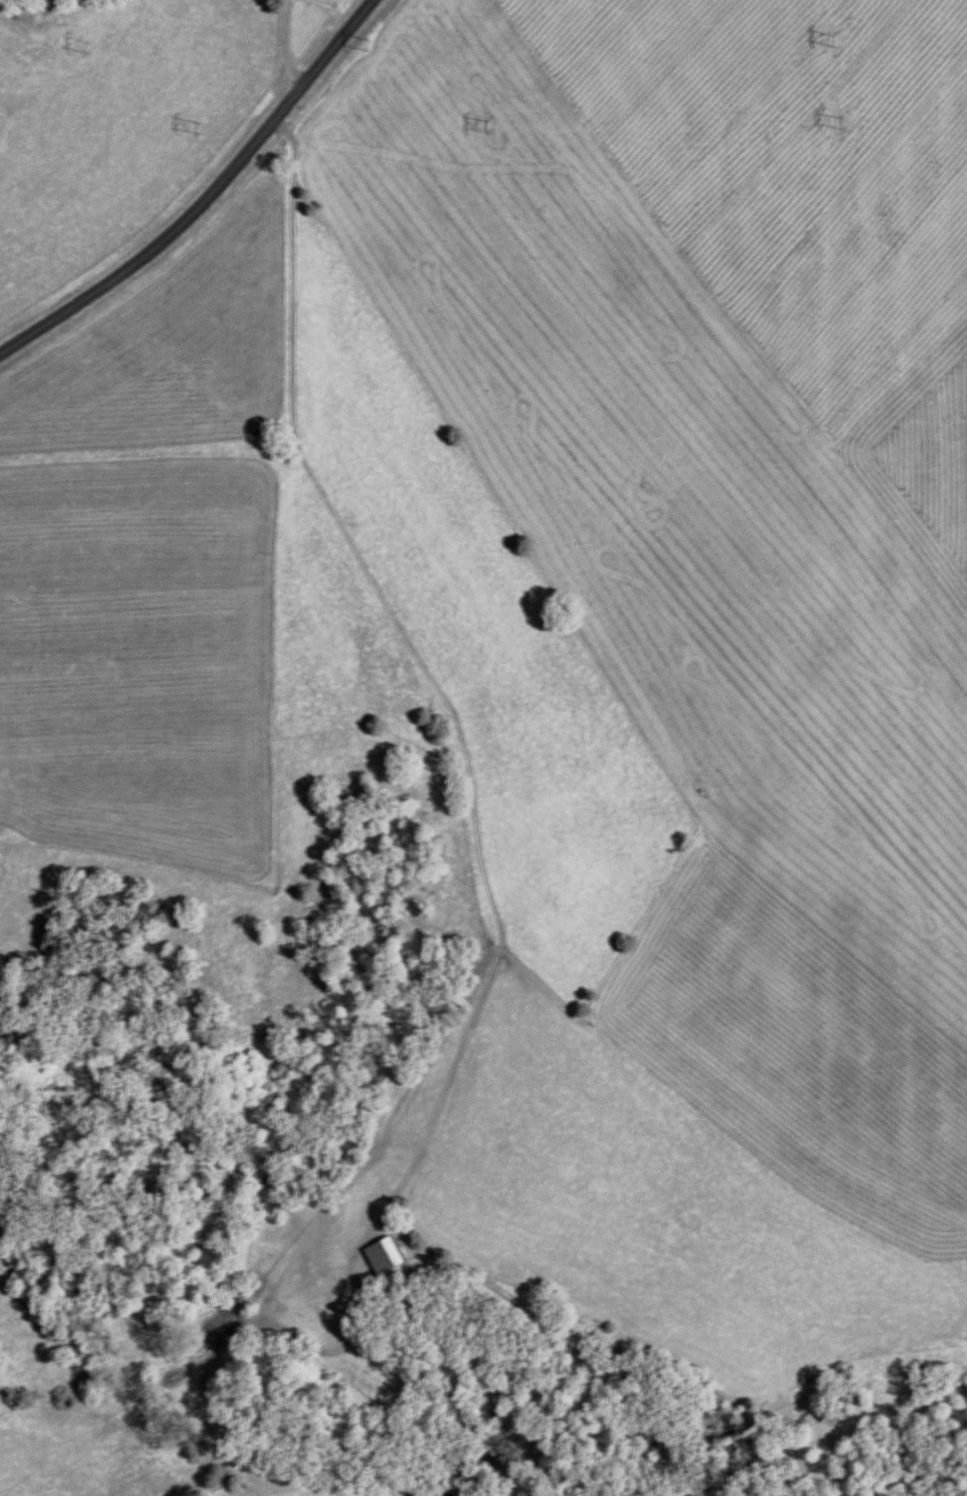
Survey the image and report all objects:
road: (295, 50)
road: (215, 202)
building: (387, 1255)

